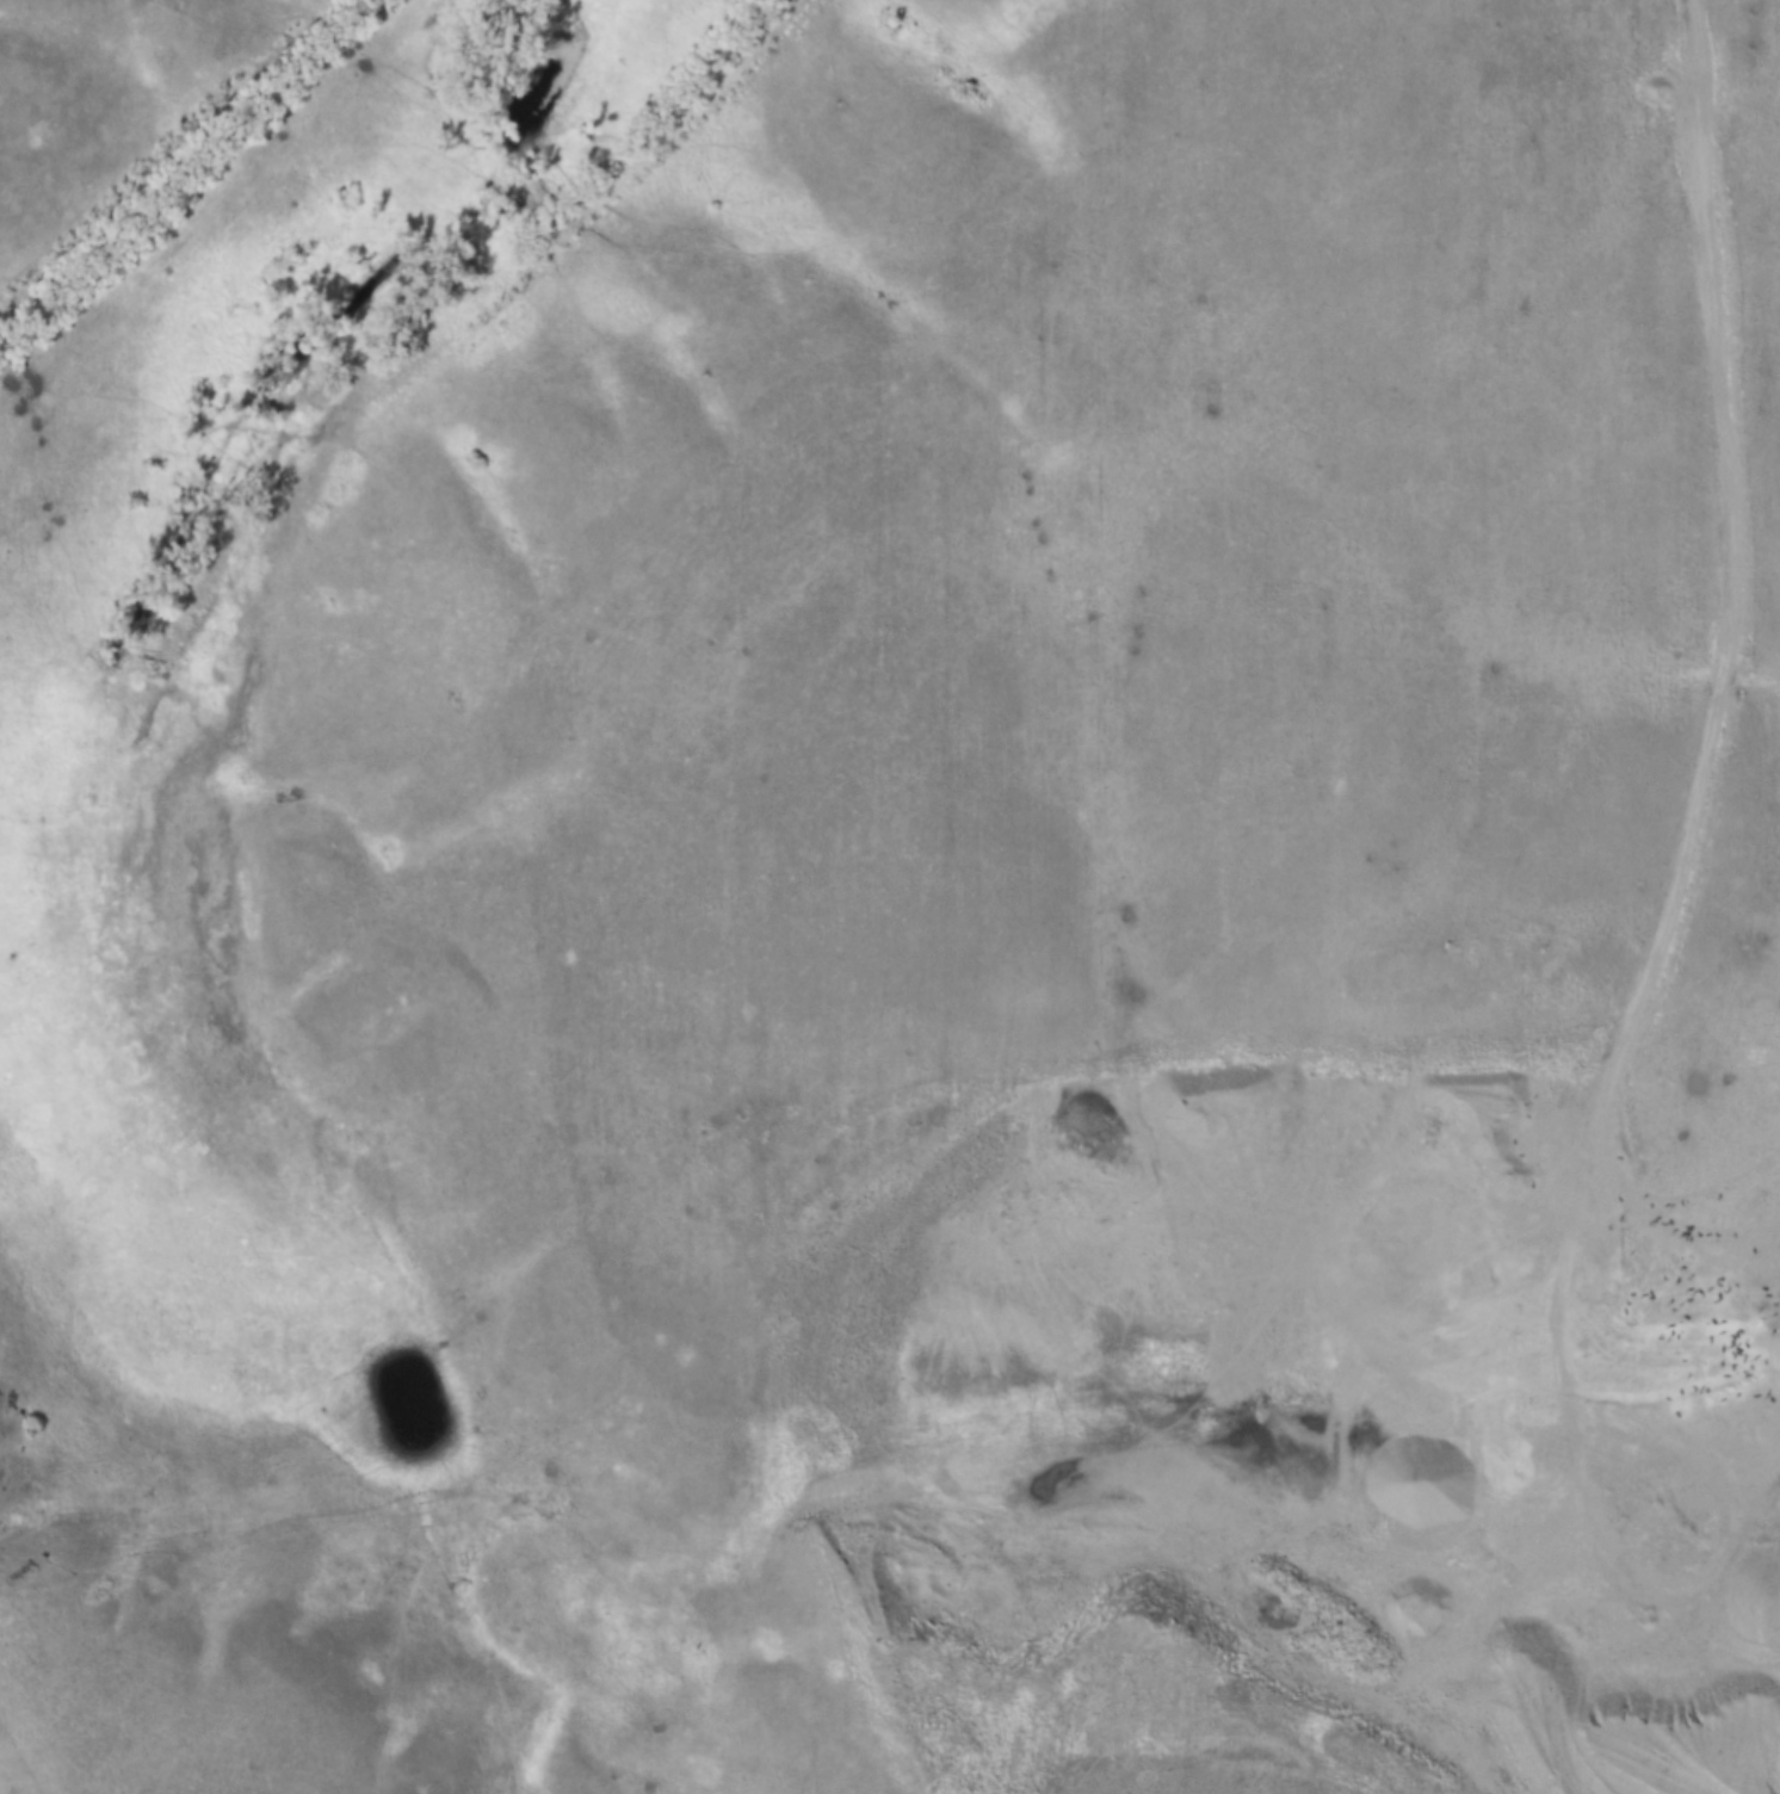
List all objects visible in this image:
quarry: (1278, 1450)

